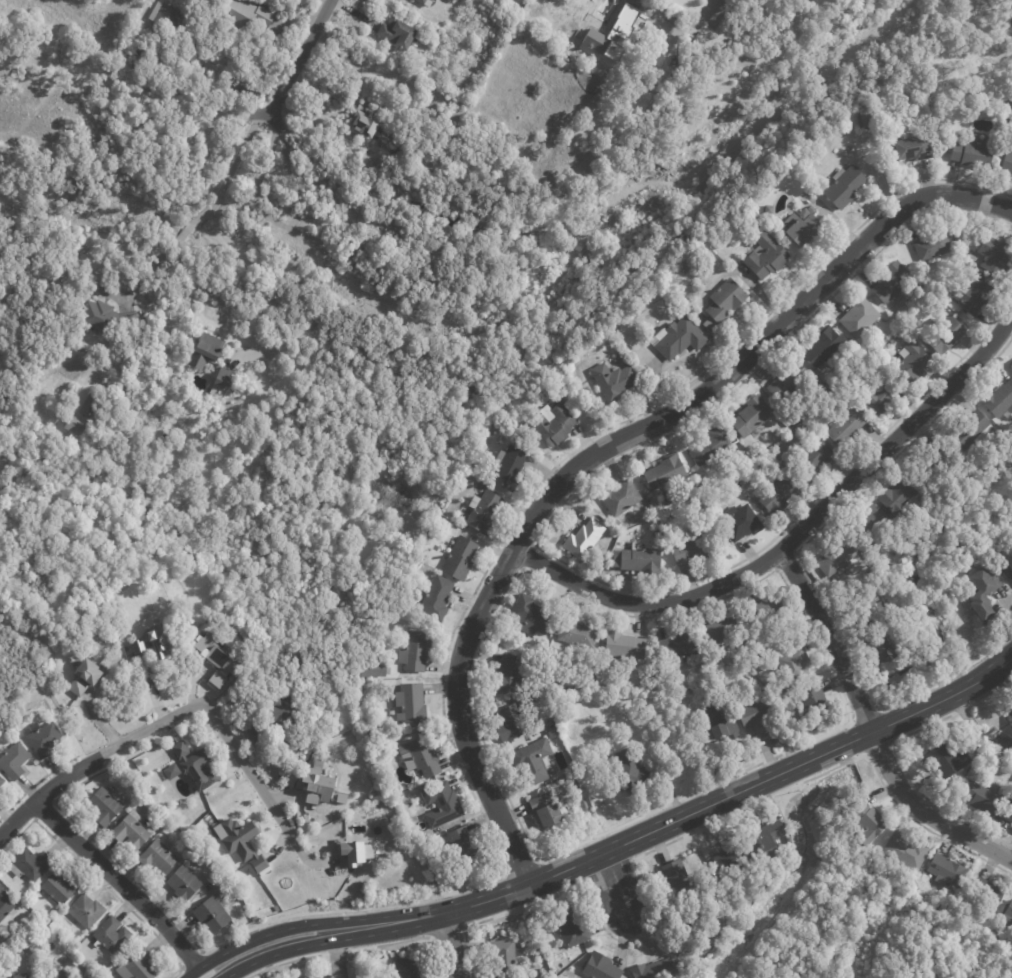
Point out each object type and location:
building: (425, 2)
road: (705, 10)
building: (164, 16)
building: (244, 17)
road: (1004, 19)
building: (567, 24)
building: (617, 30)
building: (398, 35)
building: (435, 46)
road: (302, 56)
building: (165, 60)
road: (63, 79)
building: (864, 117)
building: (366, 122)
building: (404, 141)
building: (545, 146)
building: (916, 146)
building: (975, 152)
building: (533, 161)
building: (1007, 162)
road: (232, 166)
building: (844, 186)
building: (763, 208)
building: (810, 209)
building: (741, 214)
building: (799, 228)
road: (187, 229)
road: (317, 246)
building: (932, 246)
building: (766, 256)
building: (995, 256)
road: (155, 267)
building: (892, 282)
building: (976, 294)
building: (724, 303)
building: (106, 316)
building: (860, 317)
building: (905, 333)
building: (946, 334)
building: (680, 337)
building: (824, 348)
building: (206, 350)
building: (876, 355)
building: (912, 364)
building: (1011, 367)
building: (224, 377)
building: (614, 381)
building: (788, 383)
building: (878, 395)
building: (997, 398)
building: (89, 405)
building: (753, 416)
building: (787, 423)
building: (554, 424)
building: (74, 425)
building: (846, 425)
building: (964, 430)
building: (712, 446)
road: (603, 448)
building: (813, 461)
building: (935, 464)
building: (510, 468)
building: (666, 471)
building: (745, 483)
building: (779, 494)
building: (902, 497)
building: (620, 498)
building: (670, 499)
building: (484, 512)
building: (764, 517)
building: (741, 522)
building: (616, 523)
building: (874, 527)
building: (656, 534)
road: (794, 536)
building: (585, 538)
road: (535, 545)
building: (692, 549)
building: (836, 557)
building: (460, 558)
building: (639, 560)
road: (800, 562)
building: (1008, 562)
building: (418, 567)
road: (519, 568)
road: (774, 571)
building: (873, 575)
building: (984, 593)
building: (437, 598)
road: (87, 599)
building: (114, 605)
building: (869, 609)
building: (769, 610)
building: (532, 614)
building: (723, 630)
building: (576, 634)
road: (484, 635)
building: (148, 642)
building: (624, 645)
road: (46, 646)
building: (679, 646)
building: (882, 646)
building: (416, 652)
building: (214, 660)
building: (794, 665)
building: (373, 667)
road: (441, 671)
building: (508, 675)
building: (86, 677)
road: (989, 692)
building: (812, 702)
building: (411, 704)
road: (960, 711)
road: (176, 714)
road: (865, 714)
building: (1010, 715)
building: (761, 716)
building: (273, 720)
building: (722, 721)
building: (511, 723)
road: (871, 728)
building: (380, 732)
road: (976, 732)
building: (552, 733)
building: (43, 739)
road: (849, 742)
building: (712, 748)
road: (878, 748)
building: (414, 757)
building: (12, 759)
building: (530, 759)
building: (948, 760)
building: (191, 765)
building: (628, 772)
building: (1, 782)
road: (34, 783)
building: (318, 785)
road: (914, 785)
building: (0, 796)
building: (985, 799)
building: (369, 800)
road: (53, 803)
building: (442, 805)
building: (104, 807)
road: (702, 808)
building: (546, 810)
building: (1008, 812)
building: (868, 820)
building: (412, 829)
building: (131, 832)
building: (769, 833)
road: (677, 839)
building: (238, 843)
building: (462, 844)
building: (907, 851)
building: (354, 853)
building: (737, 856)
building: (158, 857)
building: (862, 861)
building: (29, 864)
road: (523, 867)
building: (948, 869)
road: (608, 872)
building: (675, 874)
road: (97, 879)
road: (119, 881)
building: (183, 884)
road: (614, 886)
building: (59, 887)
building: (204, 894)
building: (988, 897)
building: (6, 904)
building: (86, 912)
building: (212, 915)
building: (1008, 916)
building: (570, 928)
road: (276, 931)
road: (451, 934)
building: (996, 935)
building: (111, 936)
building: (696, 938)
road: (453, 945)
road: (300, 946)
road: (356, 948)
building: (507, 955)
road: (190, 960)
building: (138, 966)
building: (408, 967)
building: (601, 967)
building: (655, 969)
building: (541, 971)
building: (57, 973)
building: (21, 976)
building: (93, 976)

